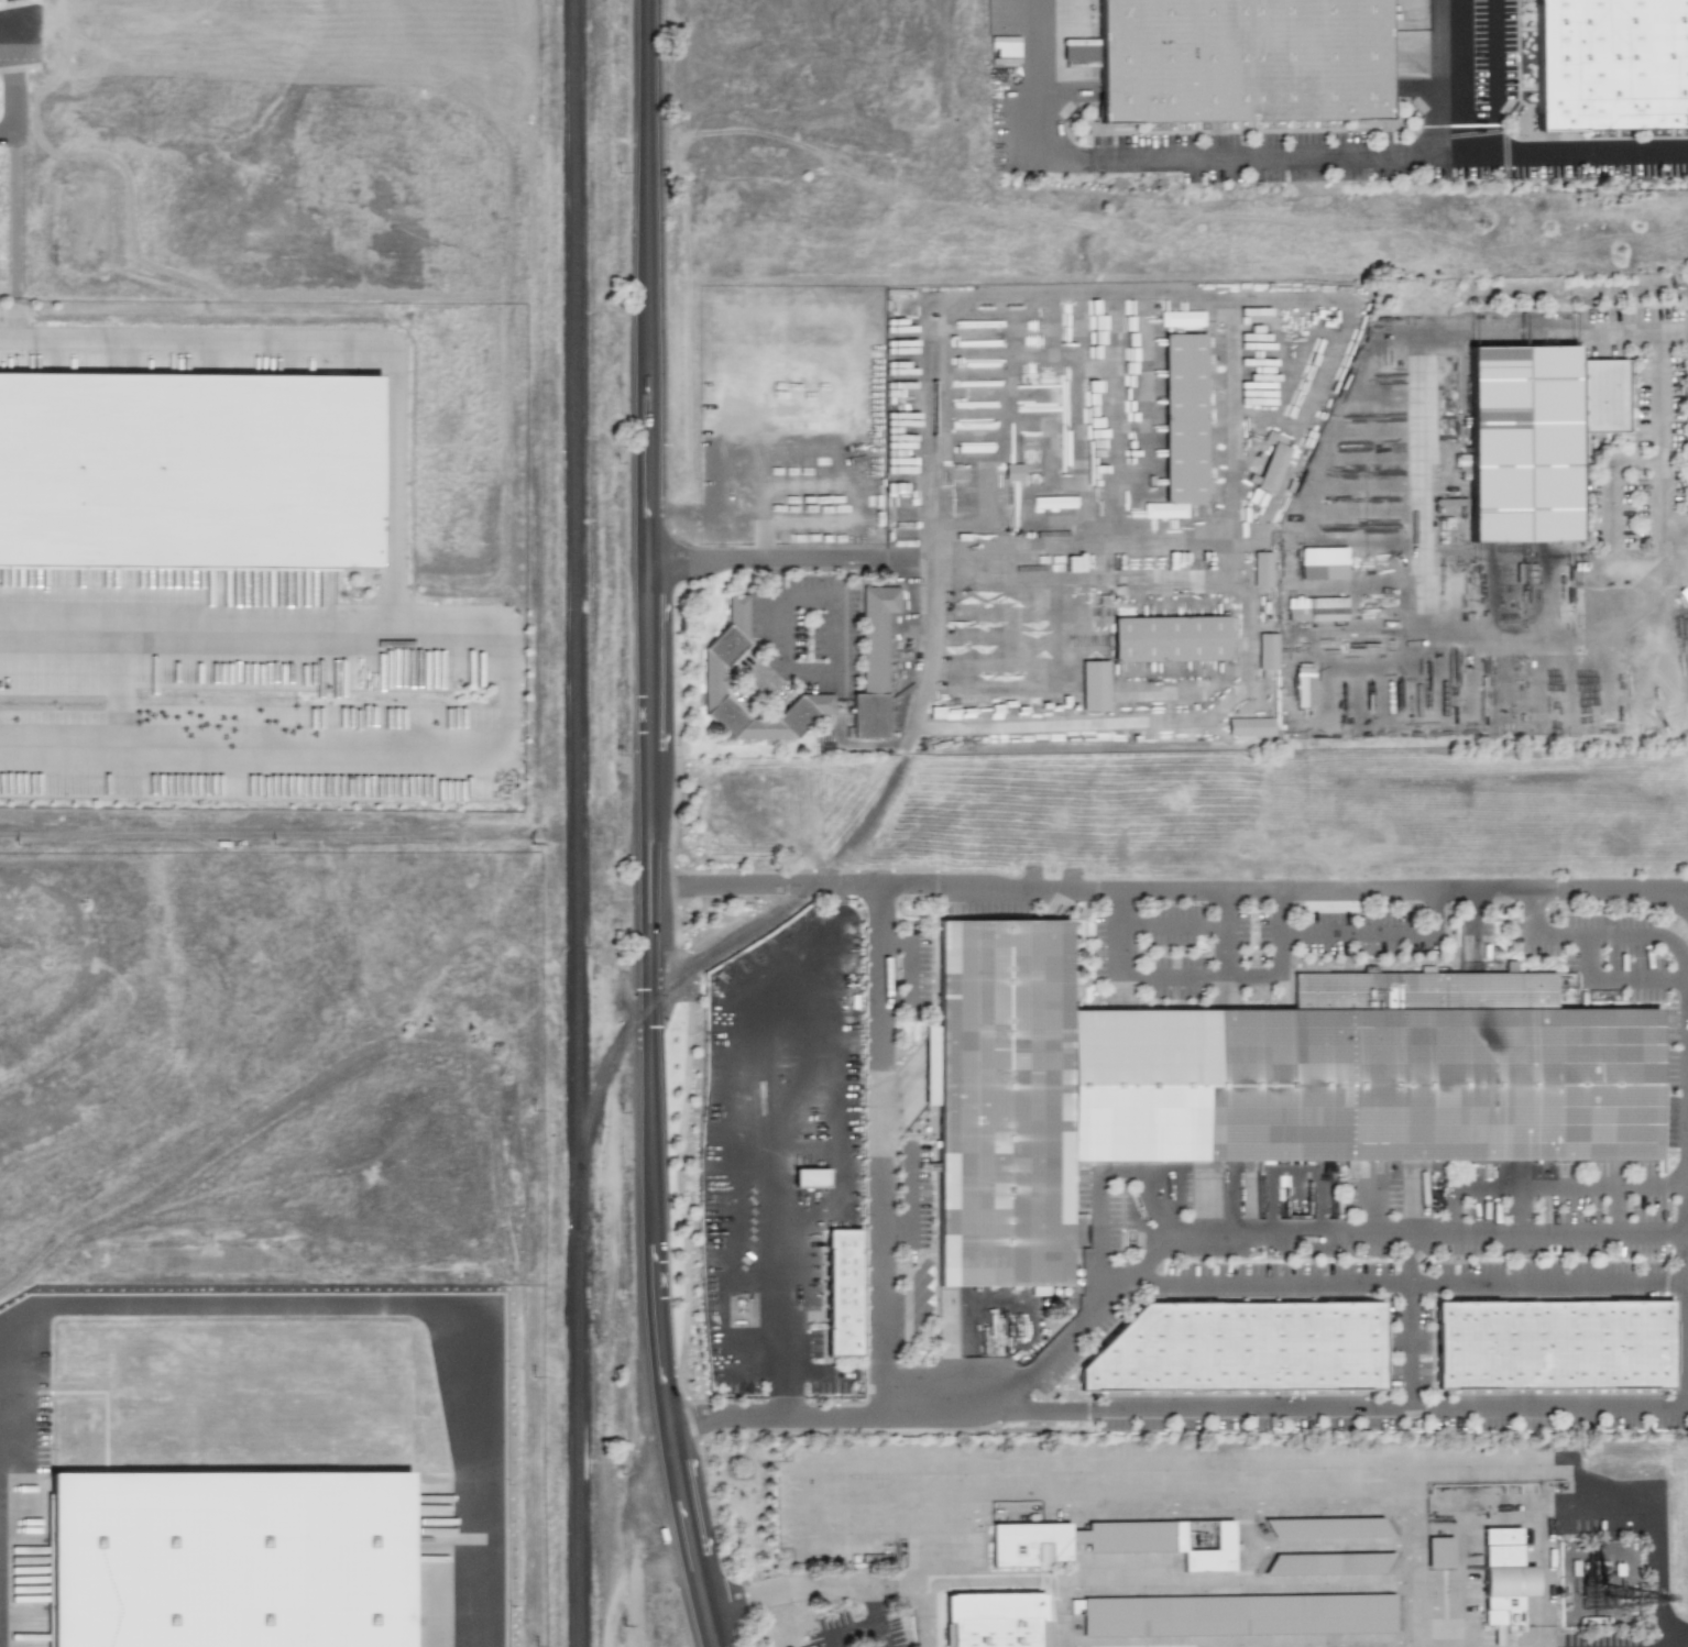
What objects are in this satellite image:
road: (10, 23)
road: (12, 47)
building: (1241, 63)
building: (1612, 66)
road: (1455, 74)
road: (1281, 150)
building: (1179, 319)
street lamp: (698, 351)
building: (1187, 417)
building: (1524, 449)
building: (1271, 462)
building: (188, 468)
building: (1012, 471)
street lamp: (697, 481)
road: (391, 483)
road: (1610, 483)
building: (1040, 507)
road: (1659, 515)
road: (830, 559)
building: (1323, 563)
building: (1262, 570)
street lamp: (698, 596)
road: (838, 606)
building: (1316, 608)
building: (1173, 640)
road: (777, 647)
building: (1267, 651)
building: (875, 663)
building: (715, 681)
road: (767, 684)
building: (1094, 685)
building: (1303, 687)
street lamp: (698, 711)
building: (1250, 726)
railway: (574, 823)
railway: (864, 823)
road: (648, 825)
street lamp: (687, 833)
road: (1166, 891)
street lamp: (918, 896)
street lamp: (816, 898)
road: (1670, 898)
street lamp: (728, 899)
street lamp: (1193, 903)
street lamp: (1101, 907)
street lamp: (1598, 907)
street lamp: (1295, 911)
street lamp: (1447, 911)
road: (1172, 921)
road: (1379, 931)
railway: (744, 934)
road: (1279, 956)
road: (1682, 969)
road: (1685, 969)
road: (1173, 970)
street lamp: (689, 997)
building: (1366, 1091)
building: (1005, 1105)
road: (779, 1119)
road: (880, 1150)
building: (810, 1177)
road: (1098, 1182)
road: (1568, 1184)
street lamp: (687, 1193)
road: (1521, 1208)
road: (1612, 1208)
road: (1150, 1254)
street lamp: (1389, 1259)
street lamp: (1530, 1259)
street lamp: (1654, 1259)
street lamp: (1272, 1260)
road: (1331, 1281)
road: (1544, 1282)
building: (1038, 1291)
building: (837, 1294)
road: (407, 1305)
road: (1681, 1343)
building: (1552, 1347)
building: (1239, 1349)
road: (820, 1374)
street lamp: (695, 1380)
road: (785, 1395)
road: (1345, 1409)
road: (730, 1454)
road: (1304, 1506)
building: (1331, 1523)
building: (1032, 1545)
building: (1442, 1545)
building: (1207, 1546)
road: (1260, 1547)
road: (1338, 1548)
building: (1331, 1557)
street lamp: (734, 1560)
building: (229, 1567)
road: (756, 1567)
road: (642, 1574)
road: (1548, 1574)
road: (1416, 1575)
building: (1508, 1579)
road: (805, 1588)
road: (1144, 1589)
building: (1238, 1611)
road: (1045, 1612)
road: (917, 1613)
road: (1061, 1618)
road: (853, 1632)
building: (998, 1633)
road: (885, 1636)
road: (1665, 1641)
road: (1328, 1646)

